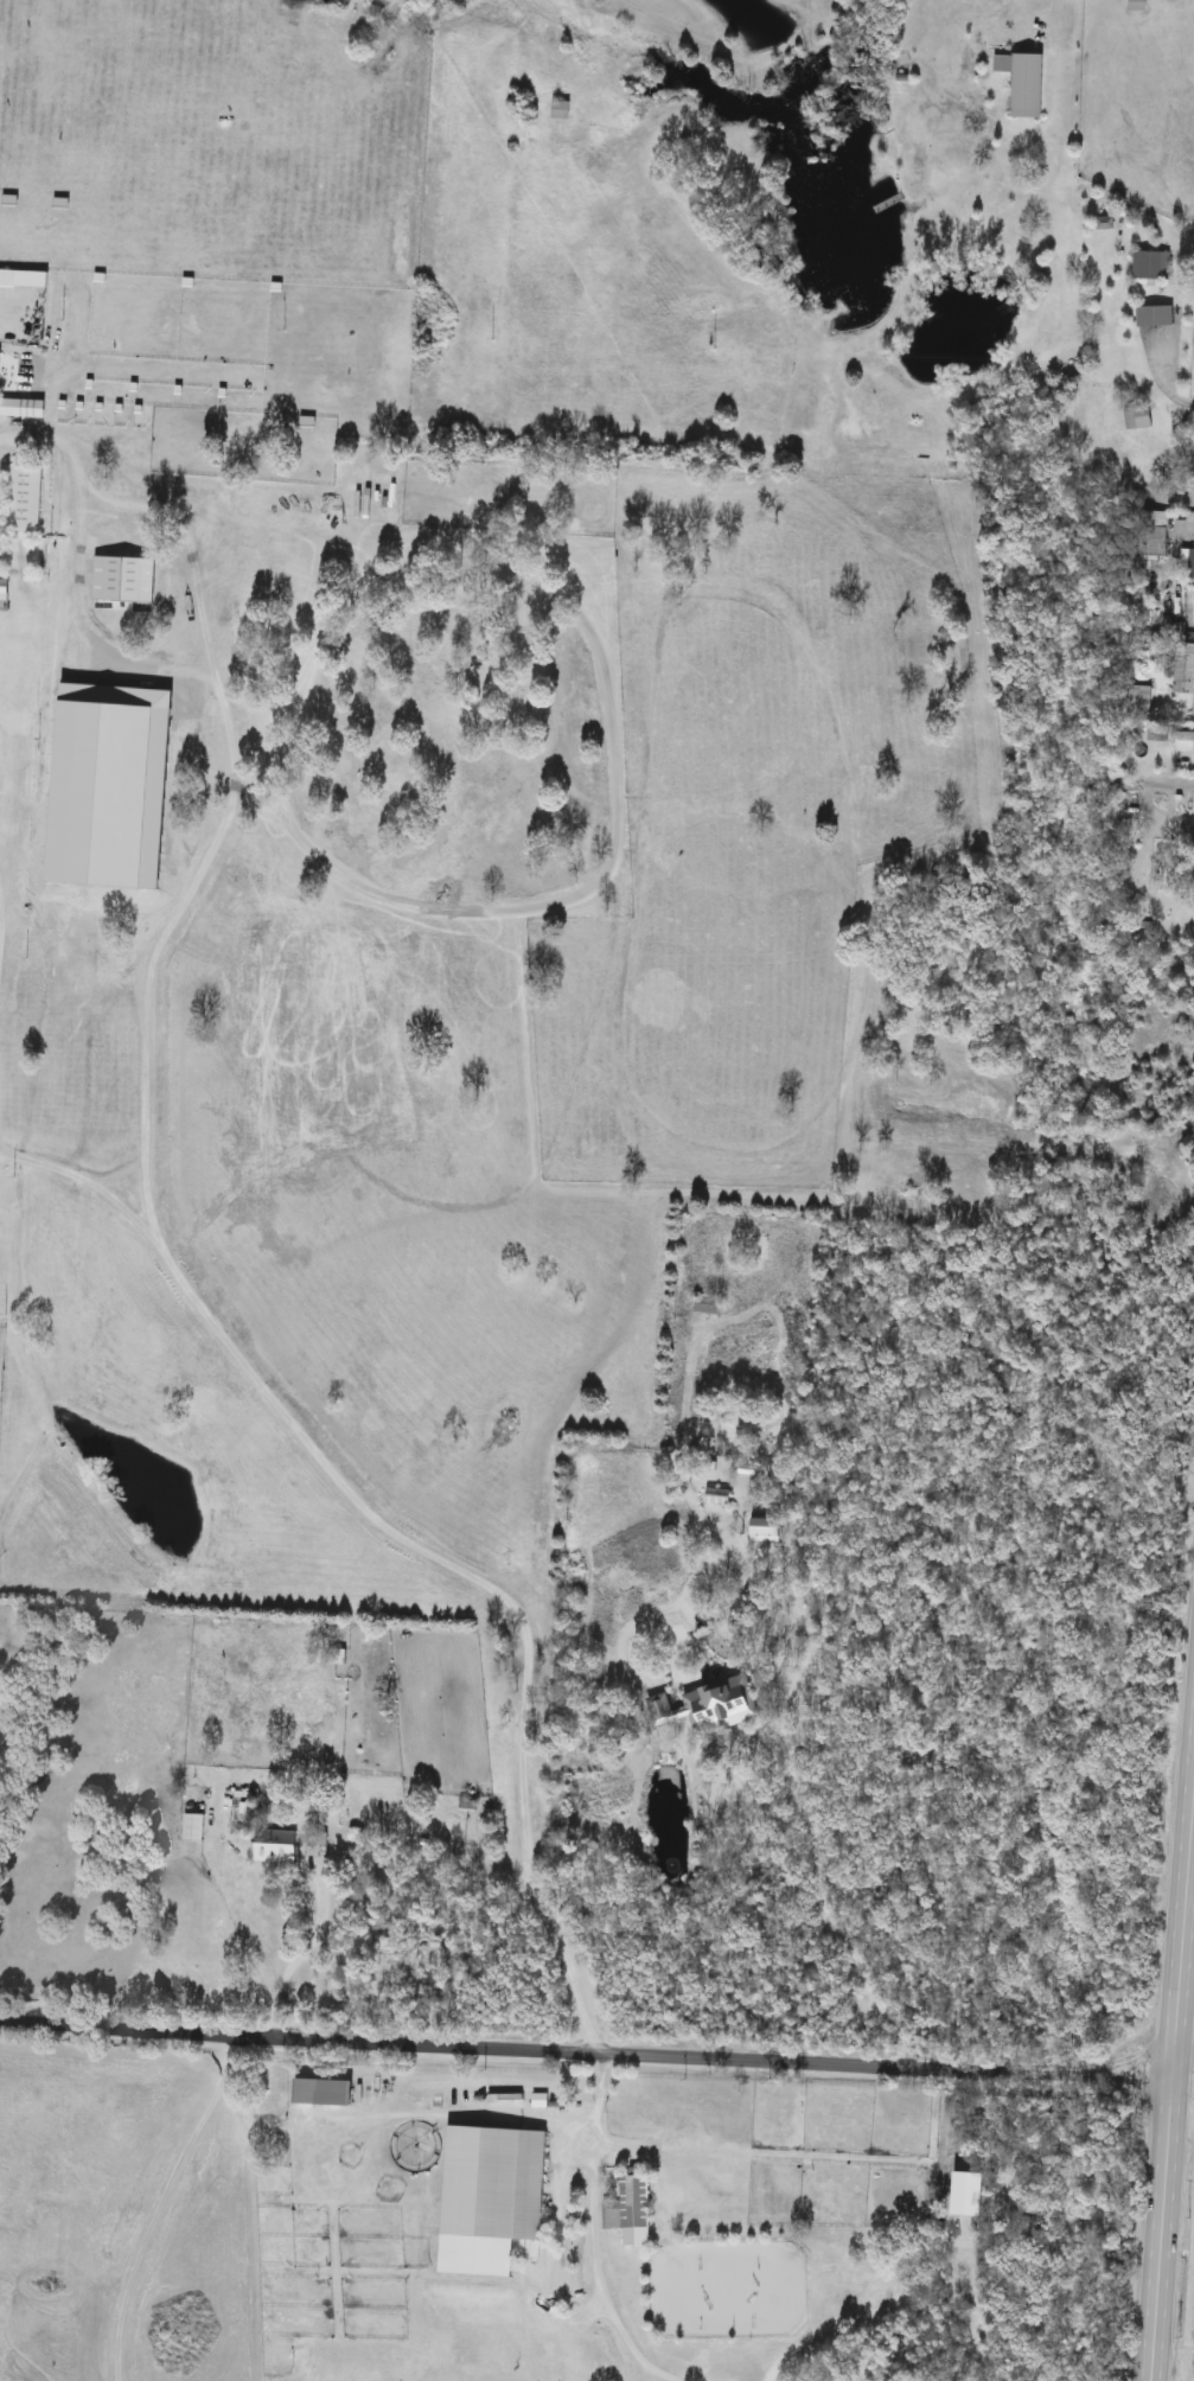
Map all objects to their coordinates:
building: (1138, 6)
building: (1026, 85)
building: (561, 111)
building: (1151, 267)
building: (8, 281)
road: (1158, 382)
building: (21, 410)
building: (25, 500)
building: (1153, 535)
building: (1193, 558)
building: (1185, 739)
road: (146, 797)
building: (1186, 873)
building: (708, 1306)
building: (765, 1528)
road: (413, 1543)
building: (709, 1707)
road: (796, 1709)
building: (193, 1828)
building: (275, 1847)
road: (298, 1961)
road: (1175, 2025)
road: (587, 2057)
road: (1183, 2063)
building: (323, 2095)
road: (587, 2125)
building: (491, 2202)
road: (161, 2204)
building: (632, 2206)
road: (594, 2248)
road: (662, 2373)

